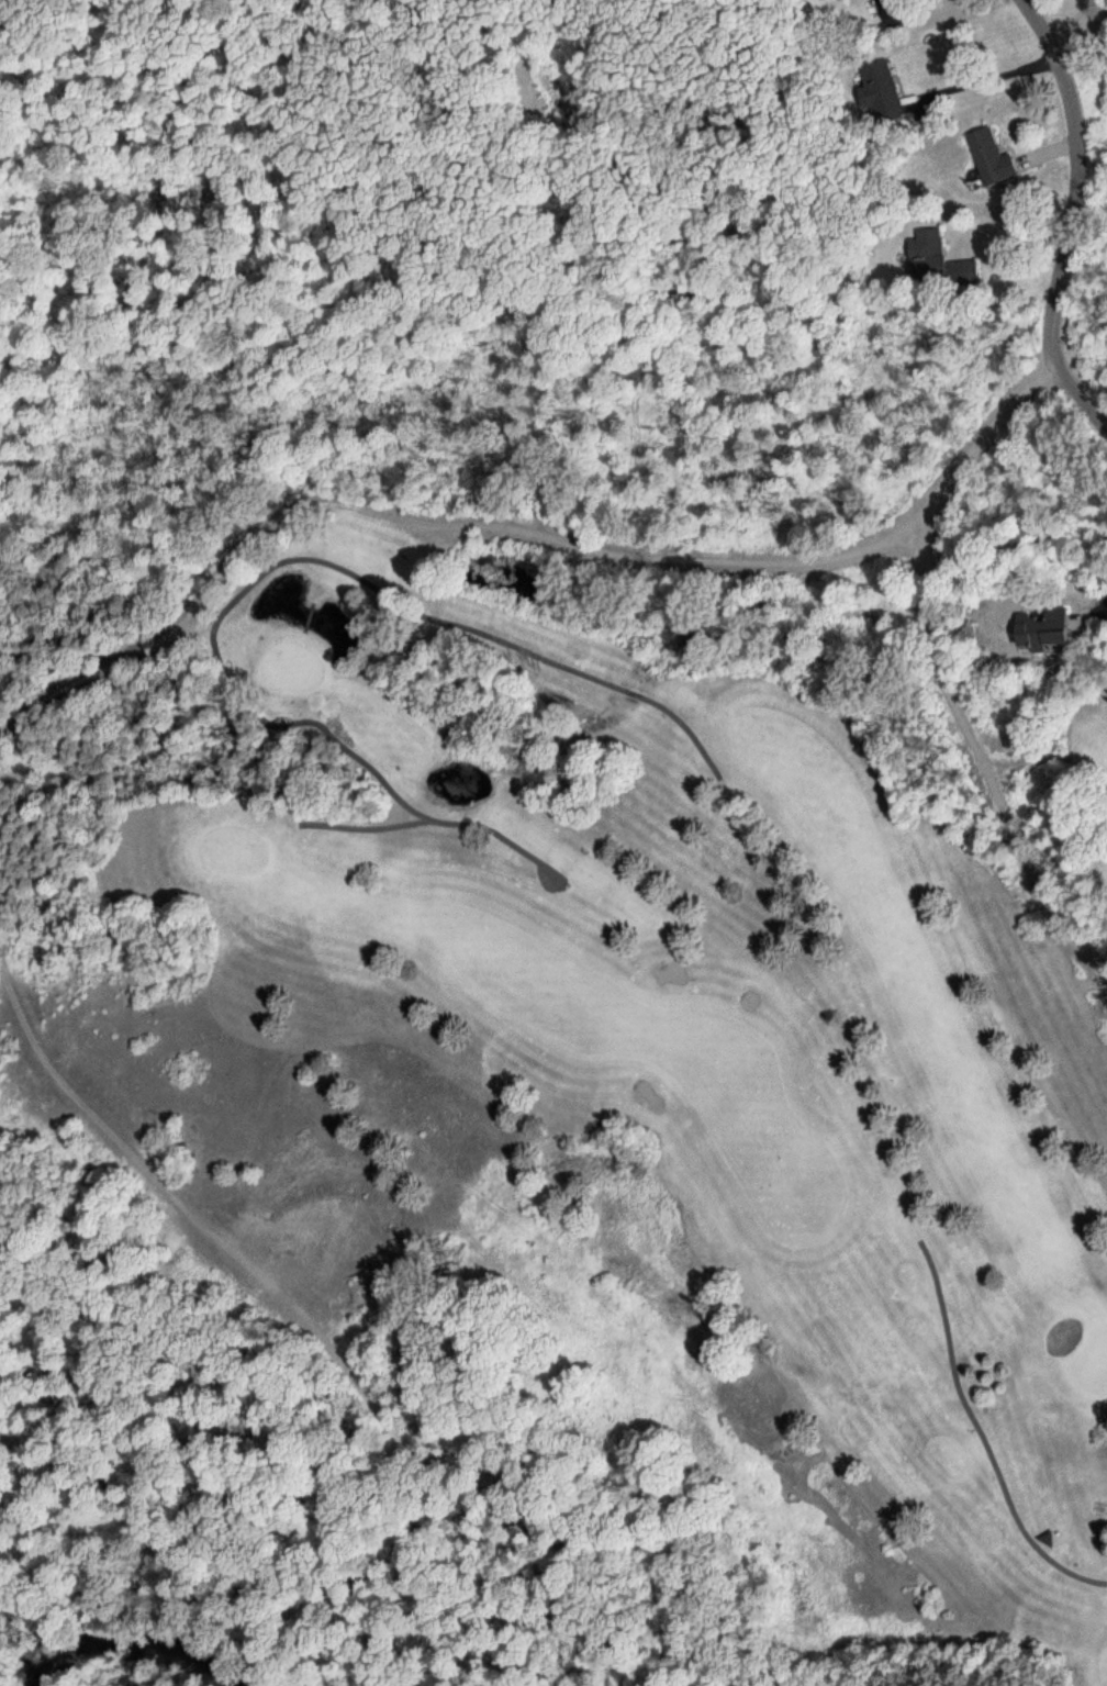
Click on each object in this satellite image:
building: (892, 8)
road: (986, 71)
building: (880, 85)
building: (988, 148)
road: (1071, 219)
building: (935, 254)
road: (526, 525)
building: (1036, 621)
park: (694, 1013)
road: (116, 1137)

